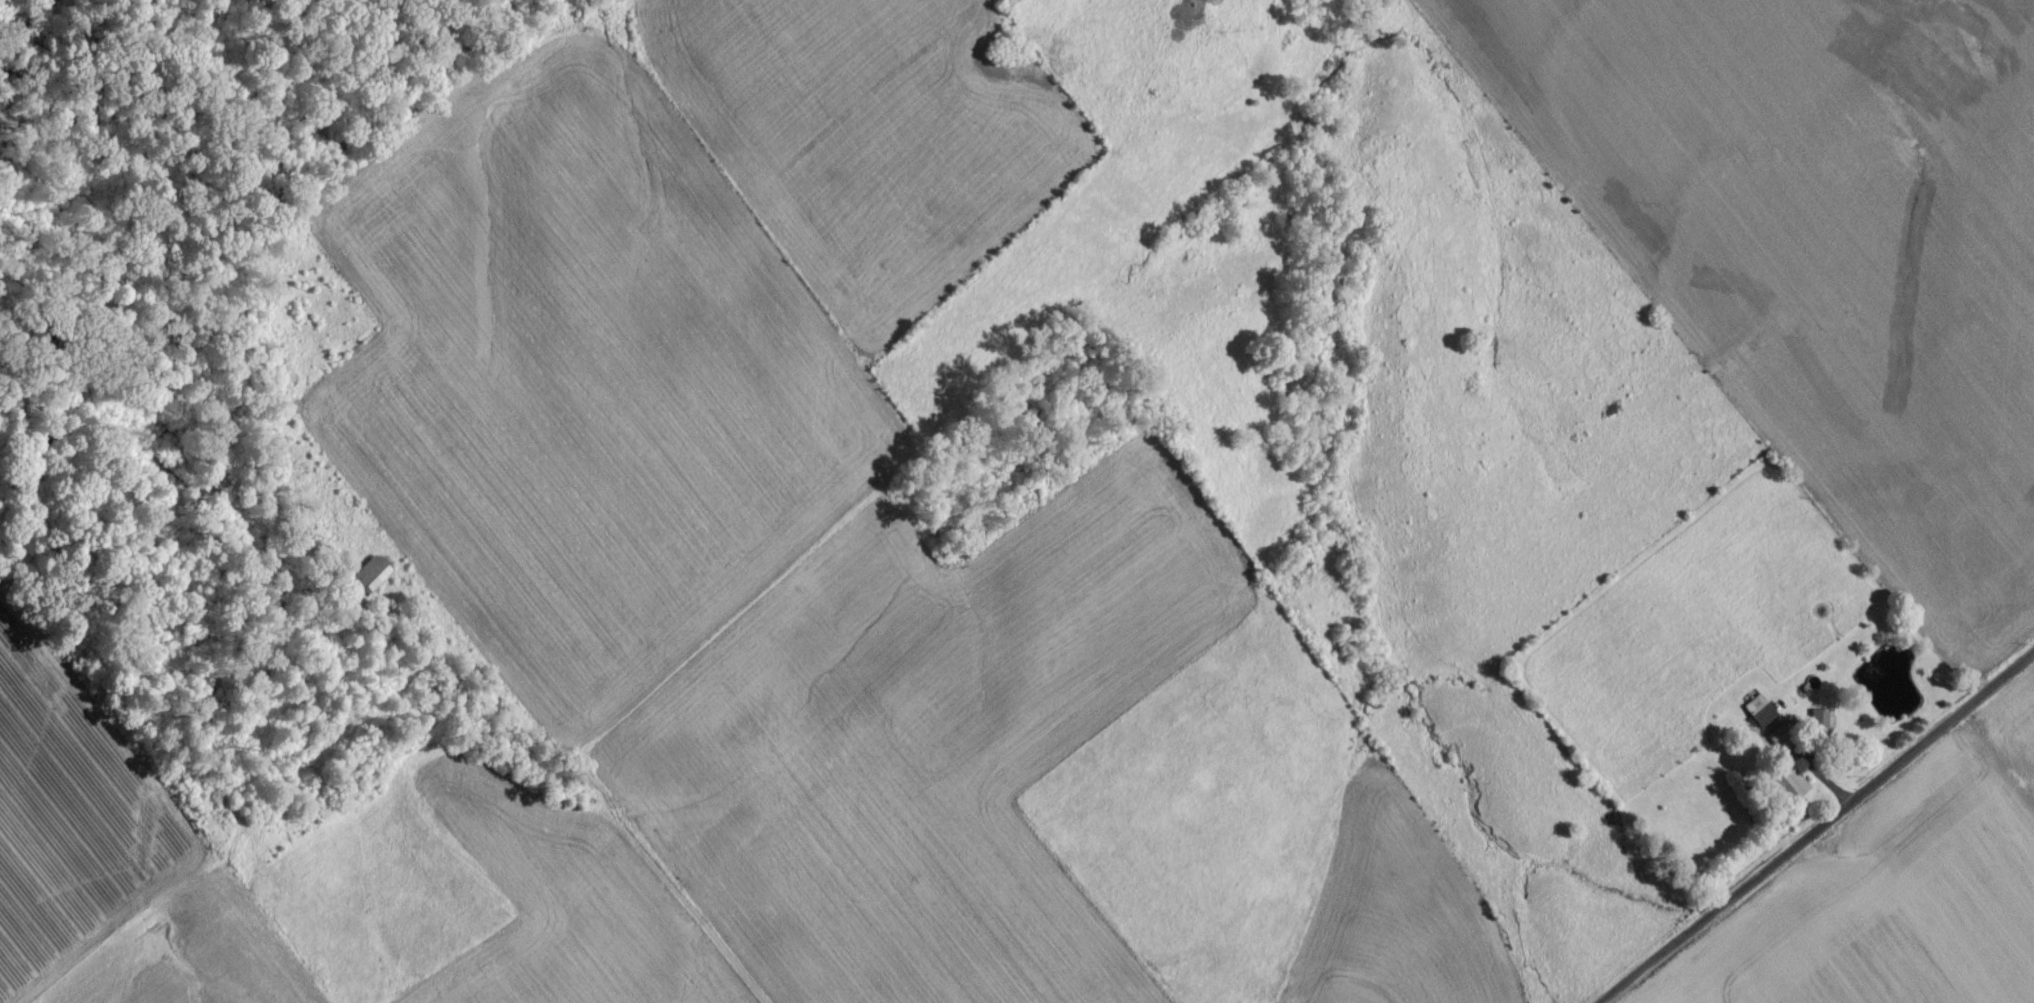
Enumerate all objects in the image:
building: (368, 580)
building: (1821, 725)
building: (1786, 783)
road: (1813, 827)

